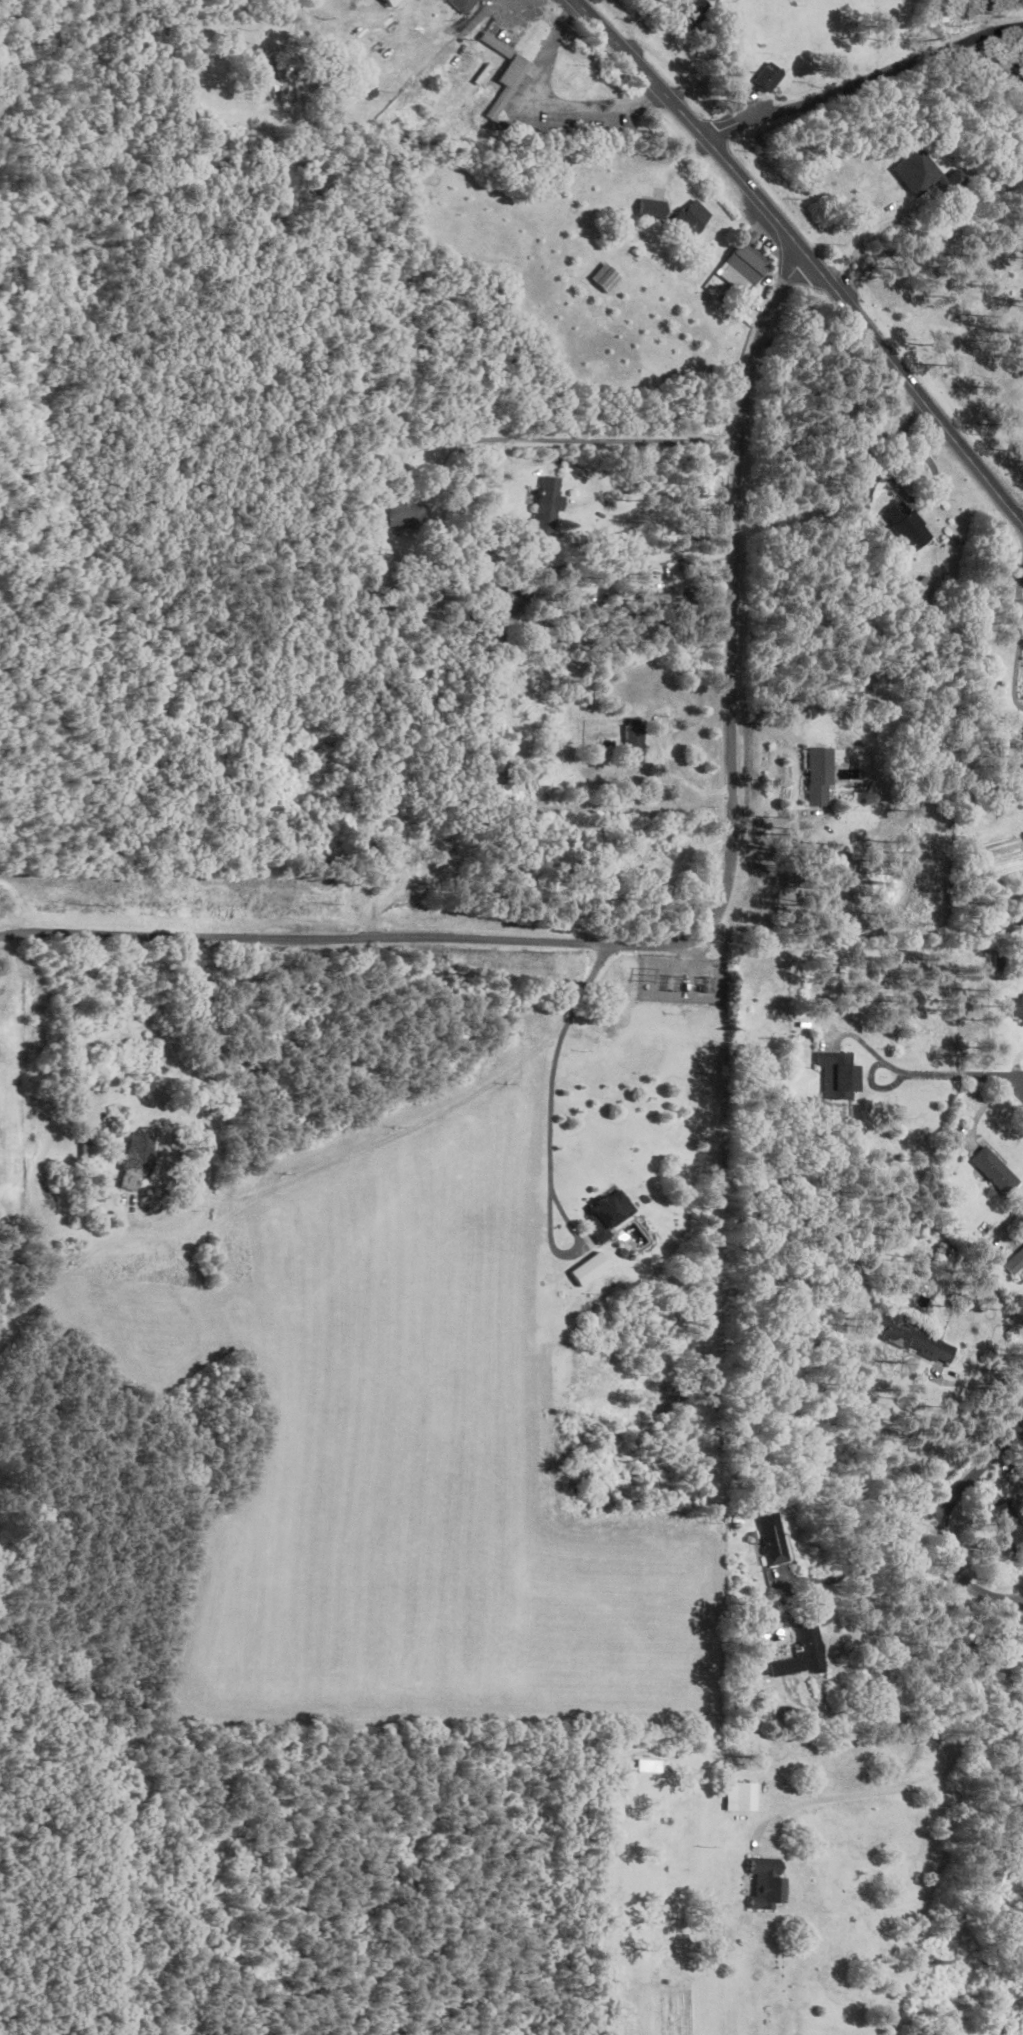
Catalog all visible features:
building: (466, 4)
building: (699, 10)
road: (535, 13)
road: (276, 16)
road: (980, 21)
building: (497, 44)
building: (513, 69)
building: (771, 76)
building: (286, 78)
road: (865, 86)
road: (550, 102)
building: (929, 173)
building: (651, 207)
building: (689, 219)
road: (870, 232)
road: (802, 253)
building: (744, 267)
building: (605, 276)
road: (581, 438)
building: (552, 504)
building: (413, 514)
building: (914, 525)
road: (570, 542)
road: (1022, 600)
building: (658, 602)
road: (1019, 677)
building: (634, 742)
road: (665, 746)
building: (1020, 749)
building: (824, 786)
road: (700, 934)
building: (1019, 1007)
road: (956, 1071)
building: (839, 1075)
road: (1020, 1080)
road: (456, 1100)
road: (555, 1130)
building: (142, 1153)
building: (998, 1171)
building: (614, 1215)
building: (1016, 1263)
building: (911, 1339)
road: (975, 1380)
building: (1017, 1476)
road: (942, 1522)
building: (775, 1539)
road: (860, 1563)
building: (804, 1652)
road: (863, 1726)
road: (913, 1752)
building: (648, 1765)
building: (742, 1796)
building: (768, 1884)
road: (228, 1910)

